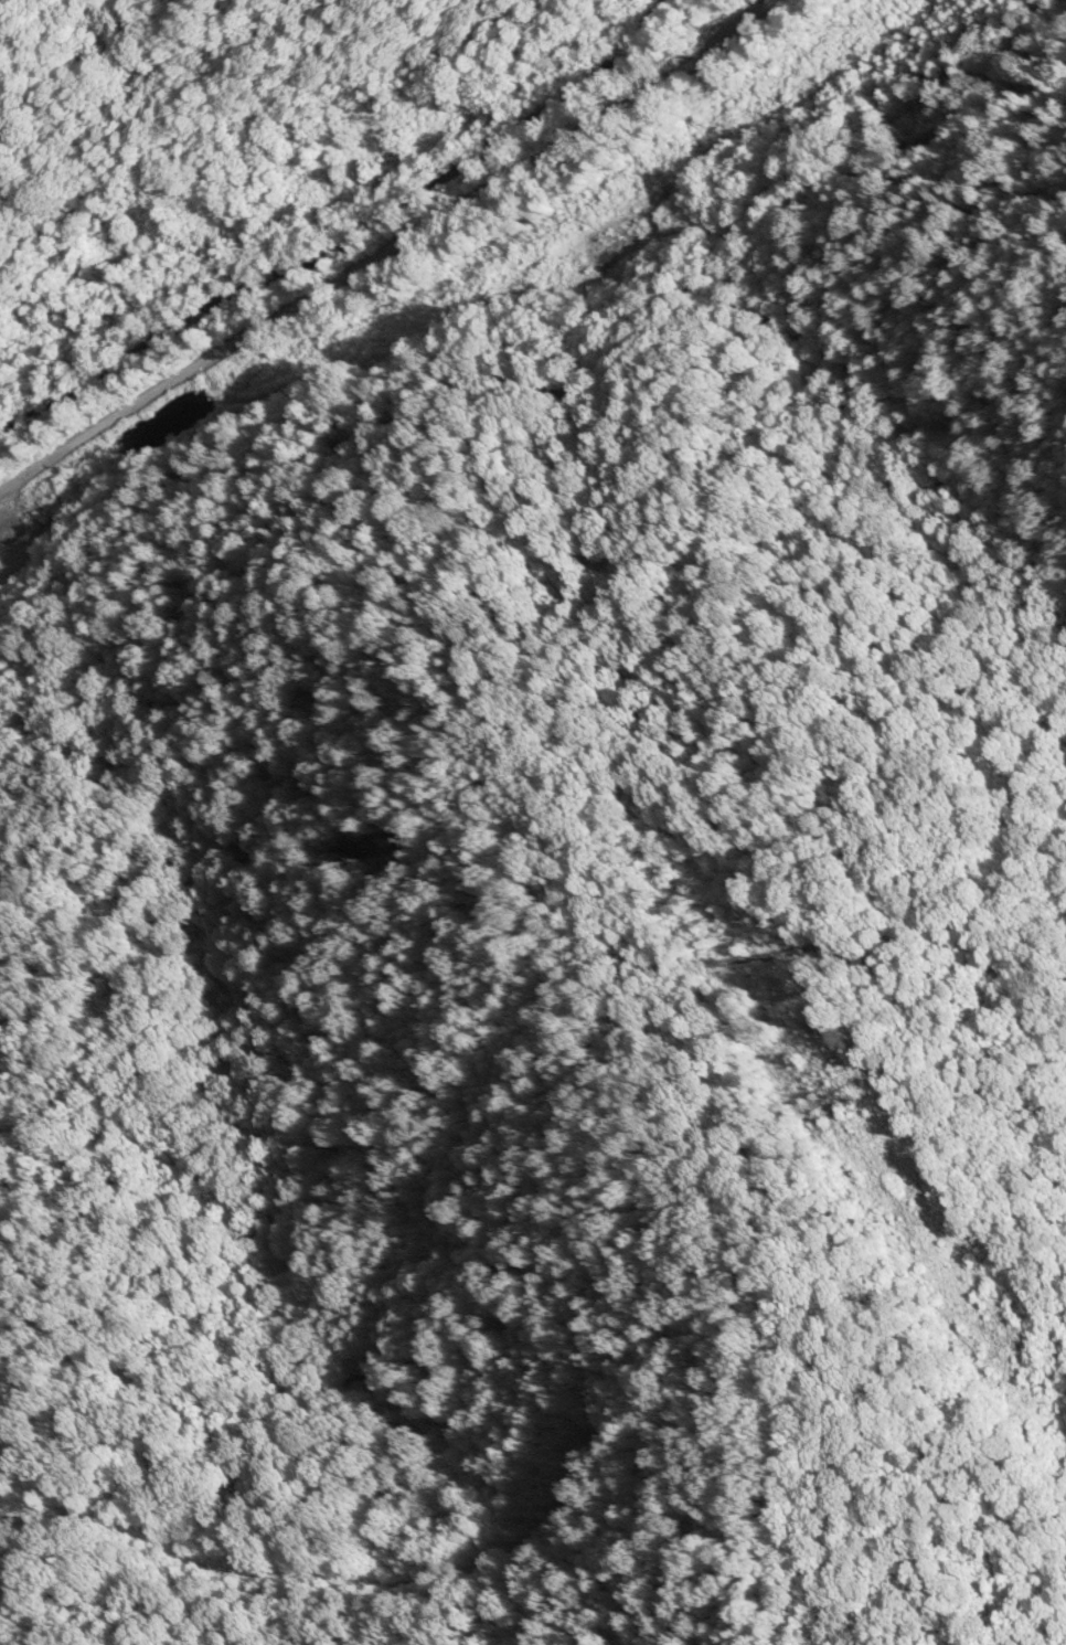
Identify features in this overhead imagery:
road: (377, 258)

